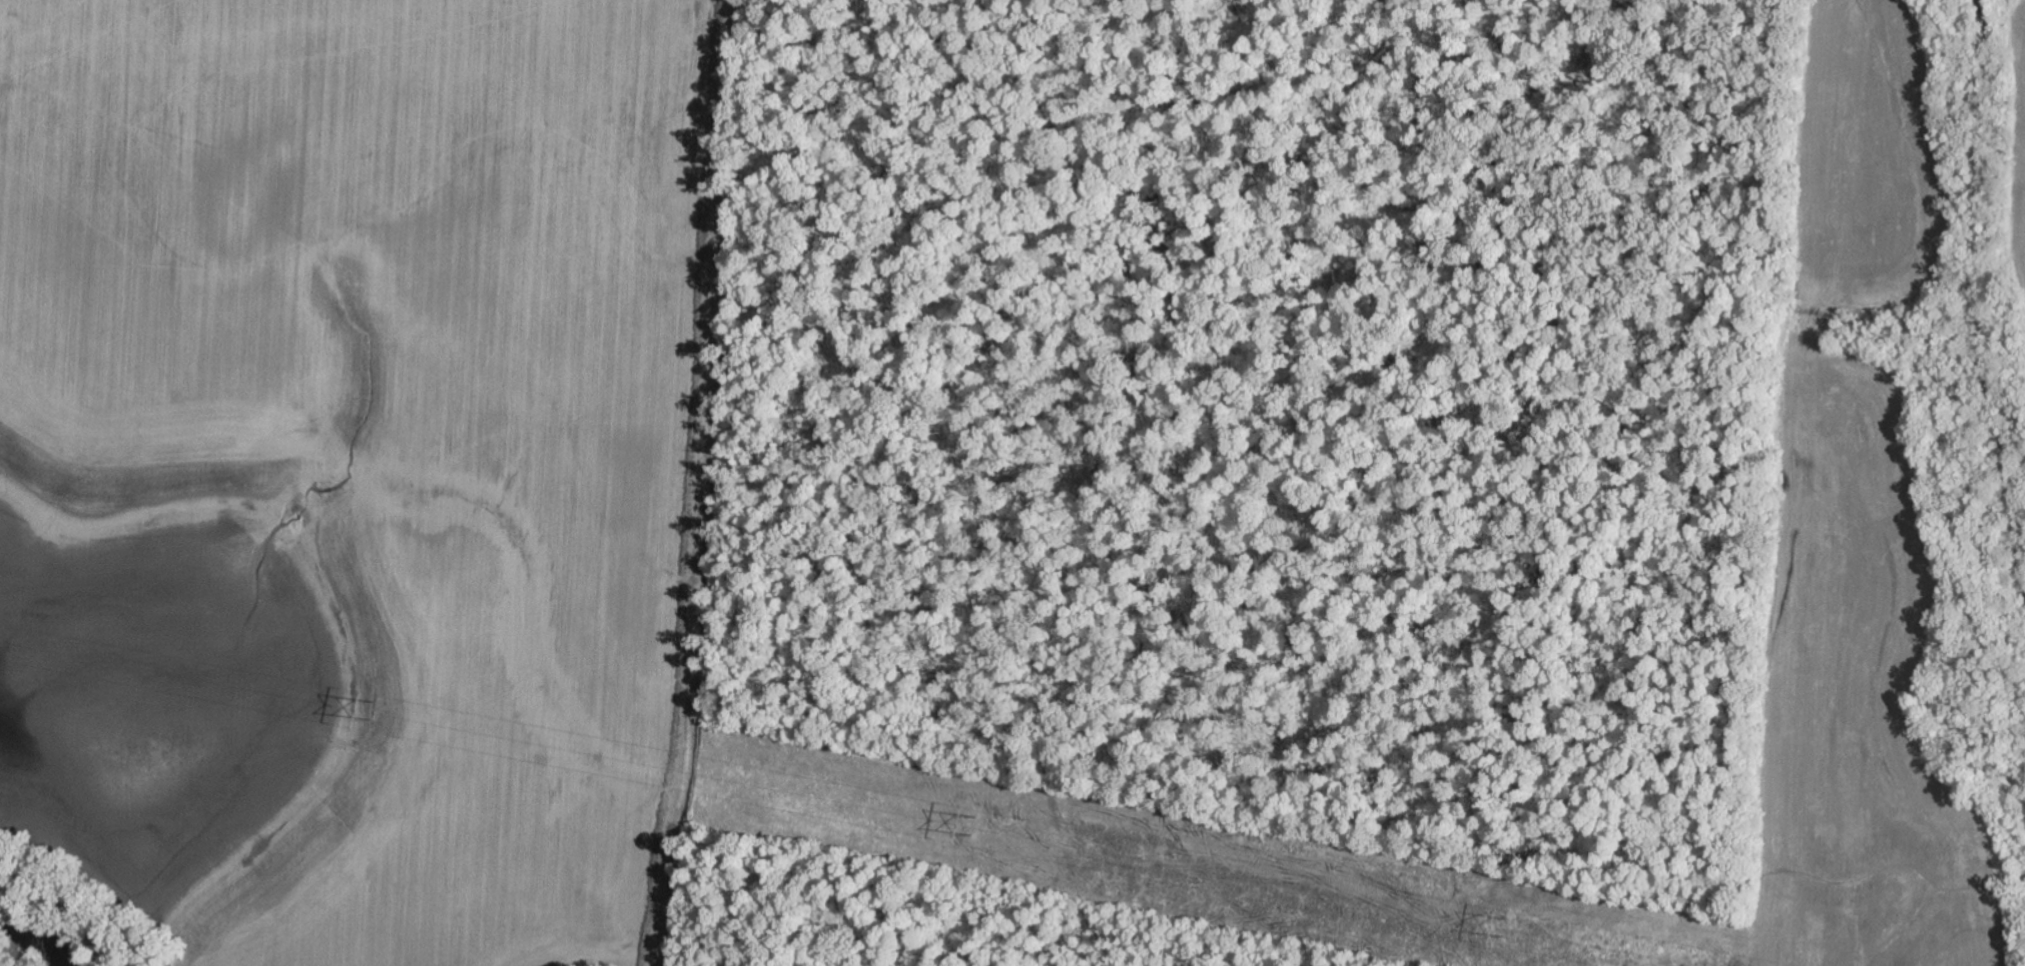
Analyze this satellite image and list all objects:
power tower: (375, 710)
power tower: (969, 824)
power tower: (1506, 924)
river: (29, 937)

